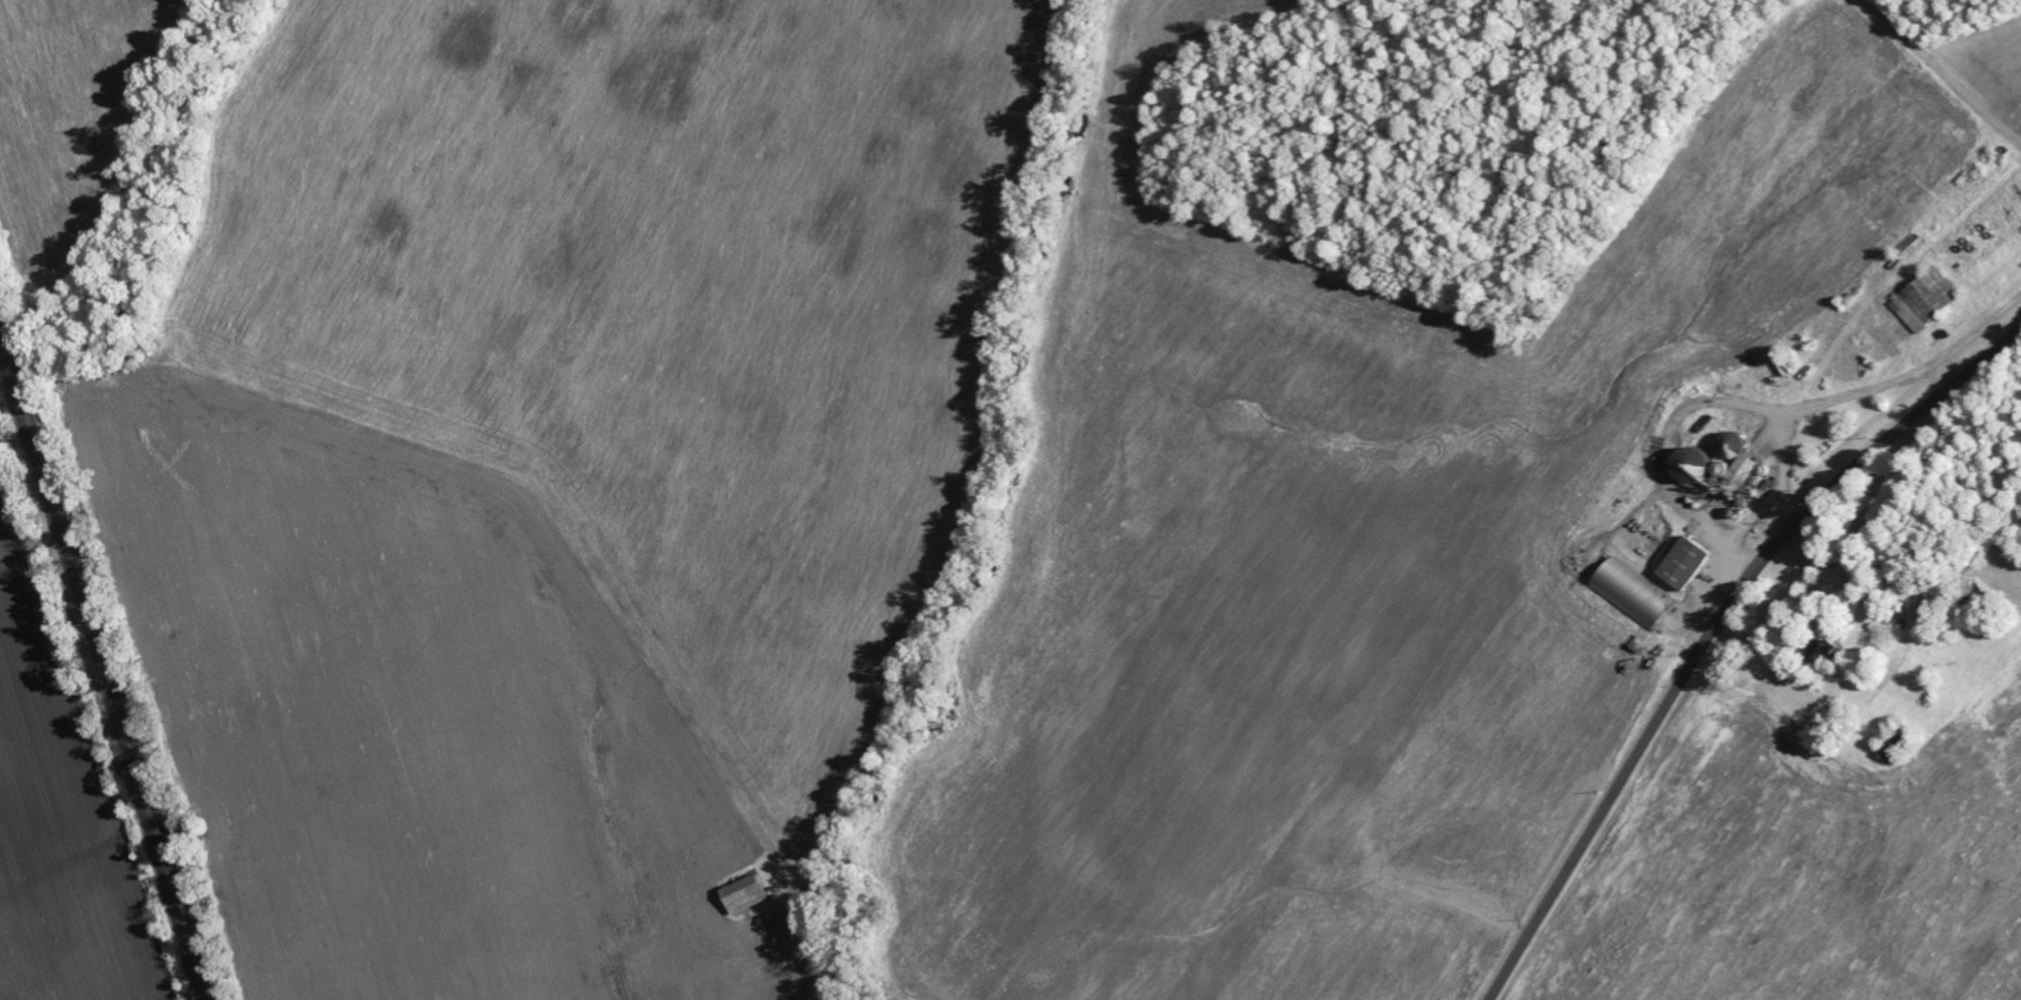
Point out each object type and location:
road: (1945, 68)
road: (2009, 107)
building: (1730, 445)
building: (1731, 475)
road: (1751, 517)
building: (1678, 562)
road: (1710, 626)
railway: (107, 657)
railway: (101, 676)
building: (751, 893)

